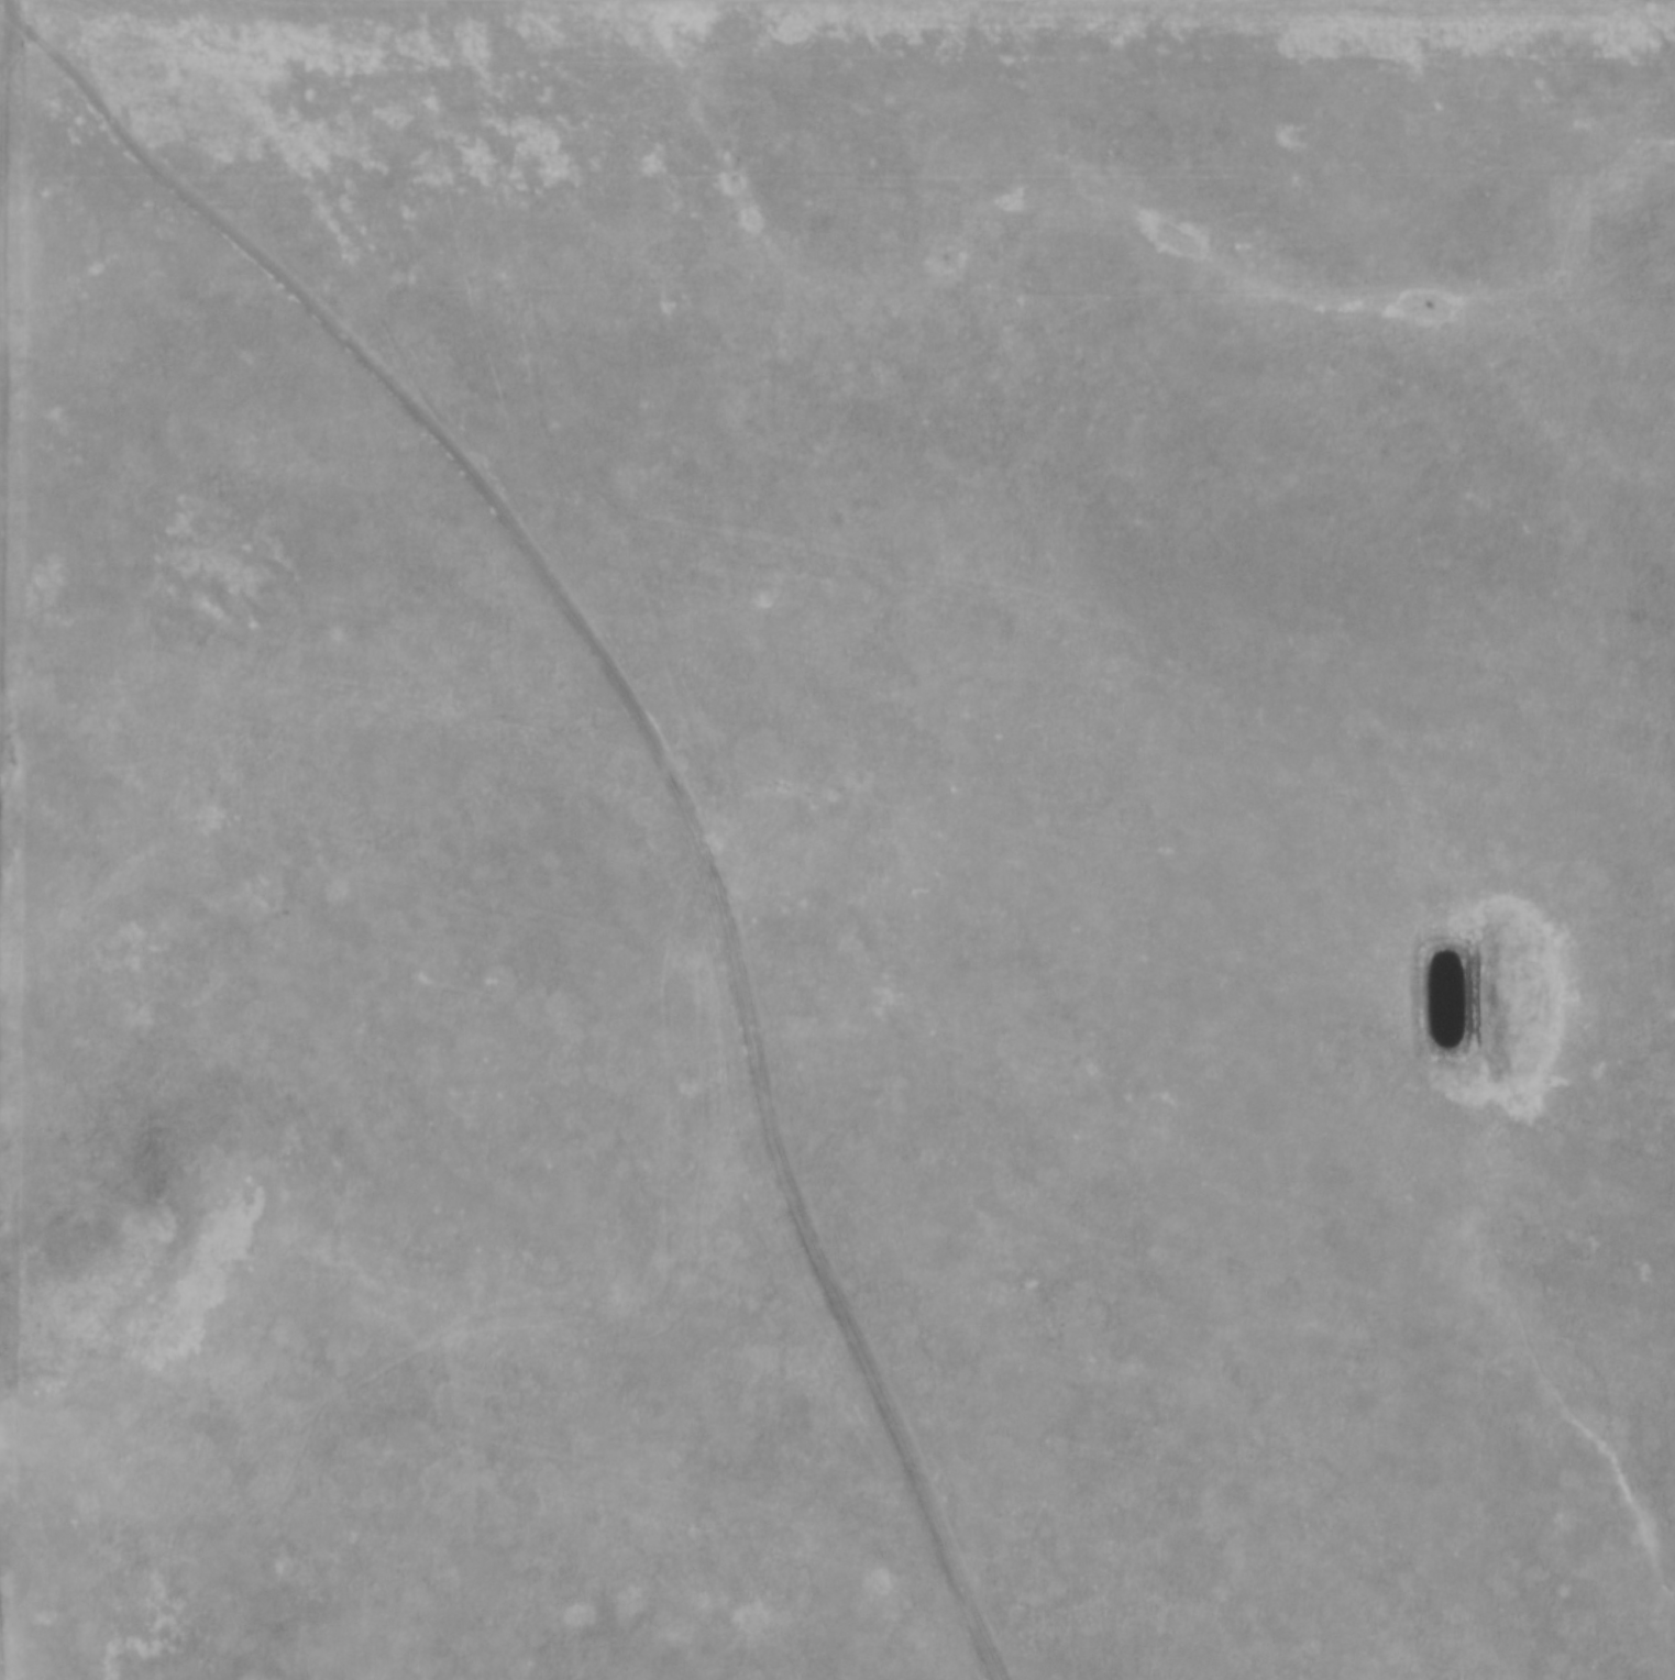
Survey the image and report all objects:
road: (3, 57)
road: (3, 342)
road: (653, 753)

